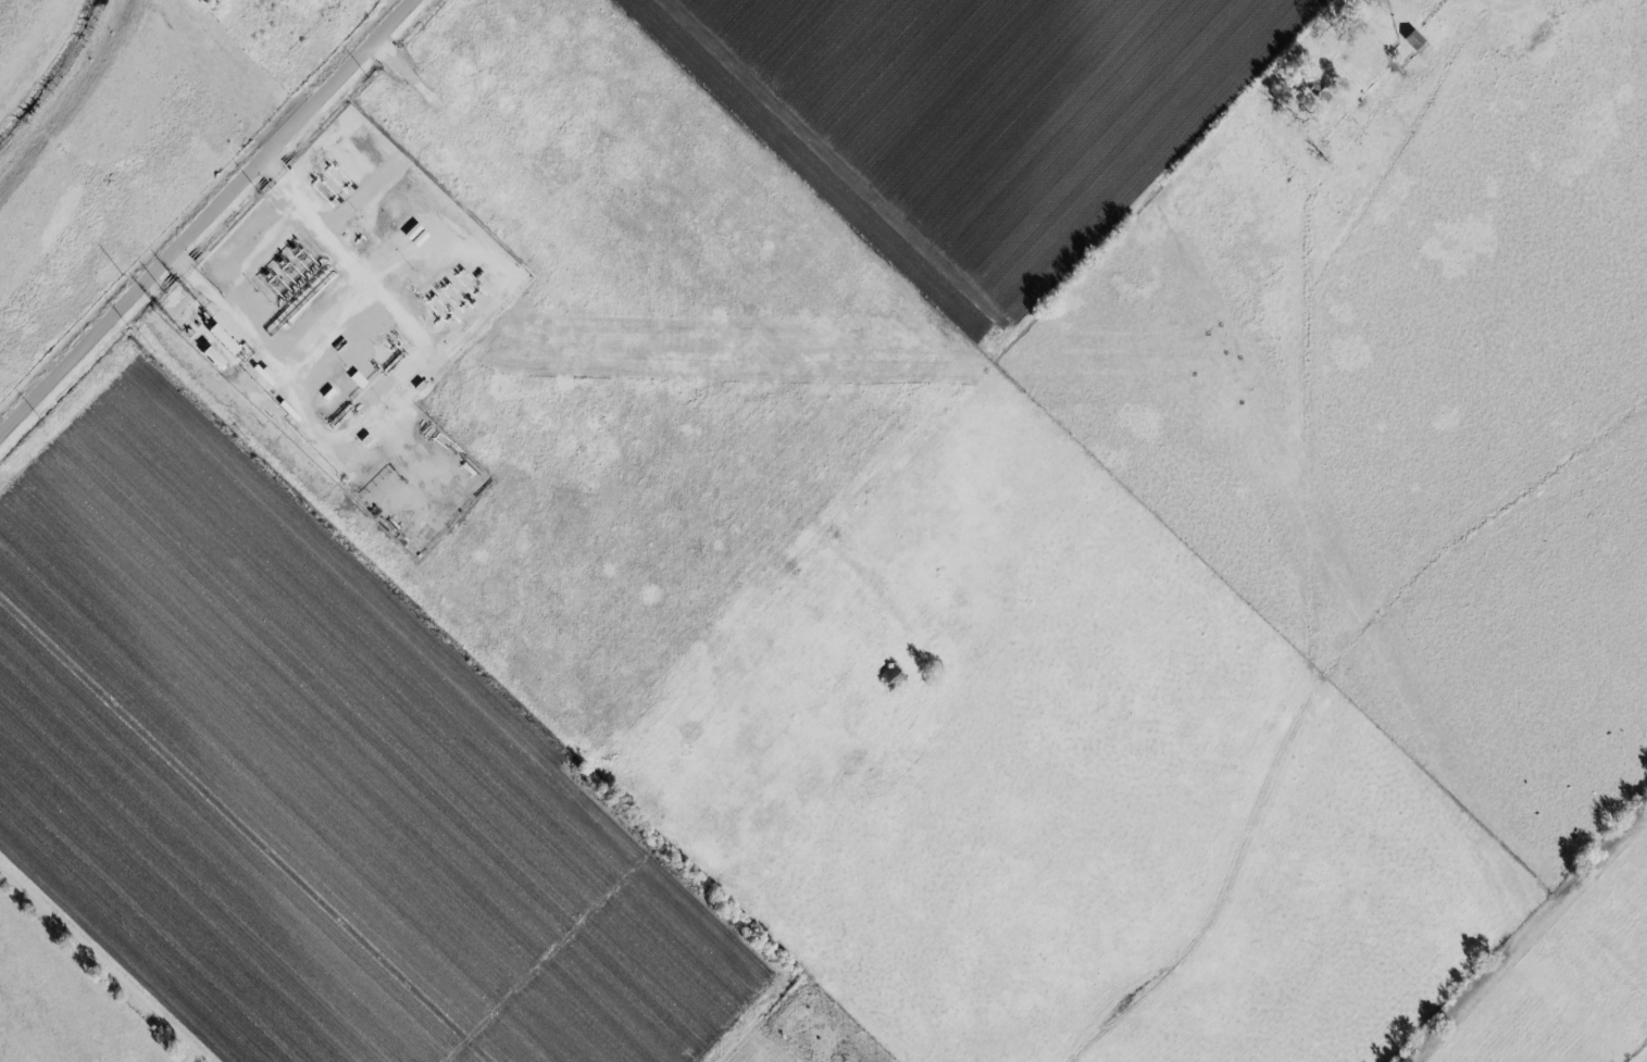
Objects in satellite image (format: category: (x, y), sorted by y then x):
road: (1506, 3)
building: (1413, 41)
building: (1315, 91)
road: (205, 216)
road: (978, 270)
building: (889, 675)
road: (103, 962)

